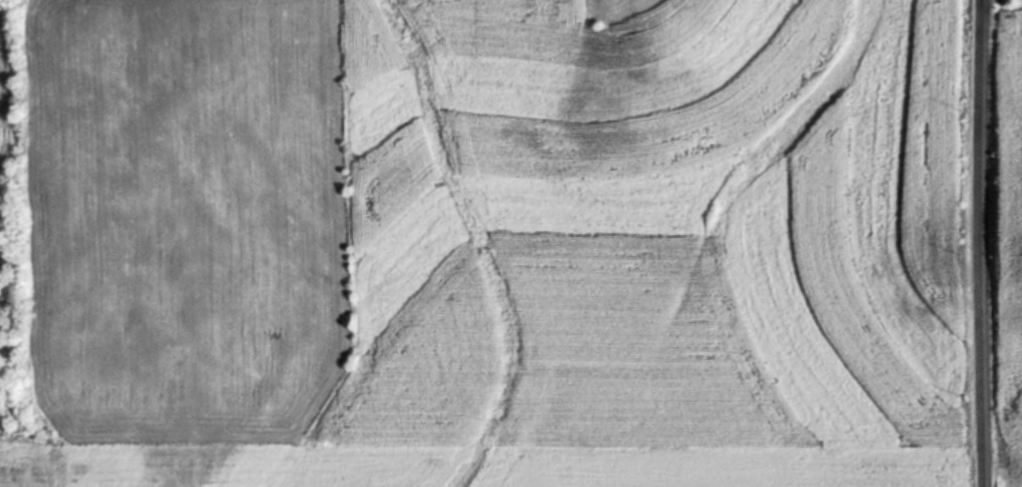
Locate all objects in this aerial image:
road: (977, 243)

